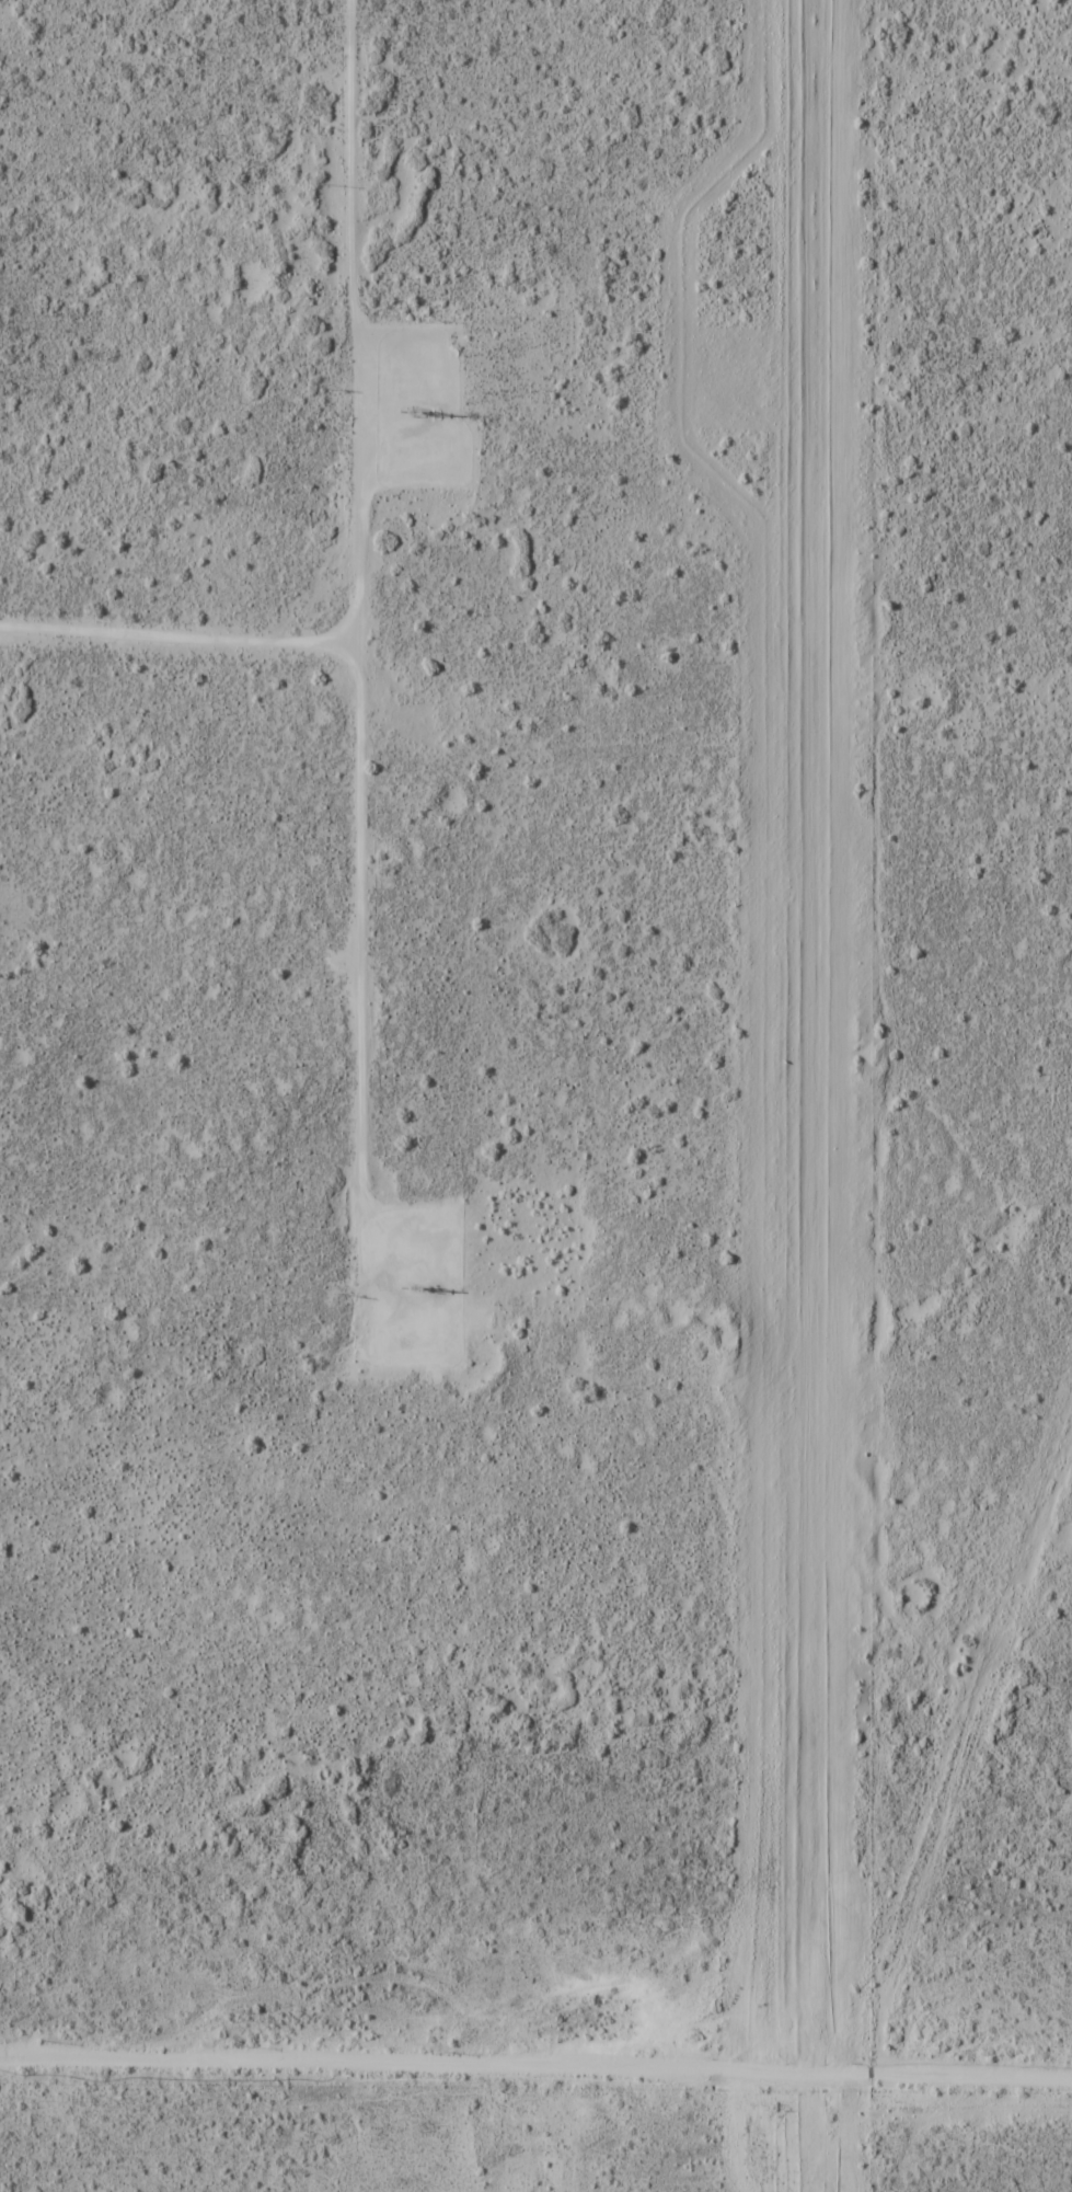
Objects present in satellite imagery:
petroleum well: (410, 404)
road: (366, 495)
petroleum well: (413, 1272)
road: (436, 2063)
road: (972, 2072)

